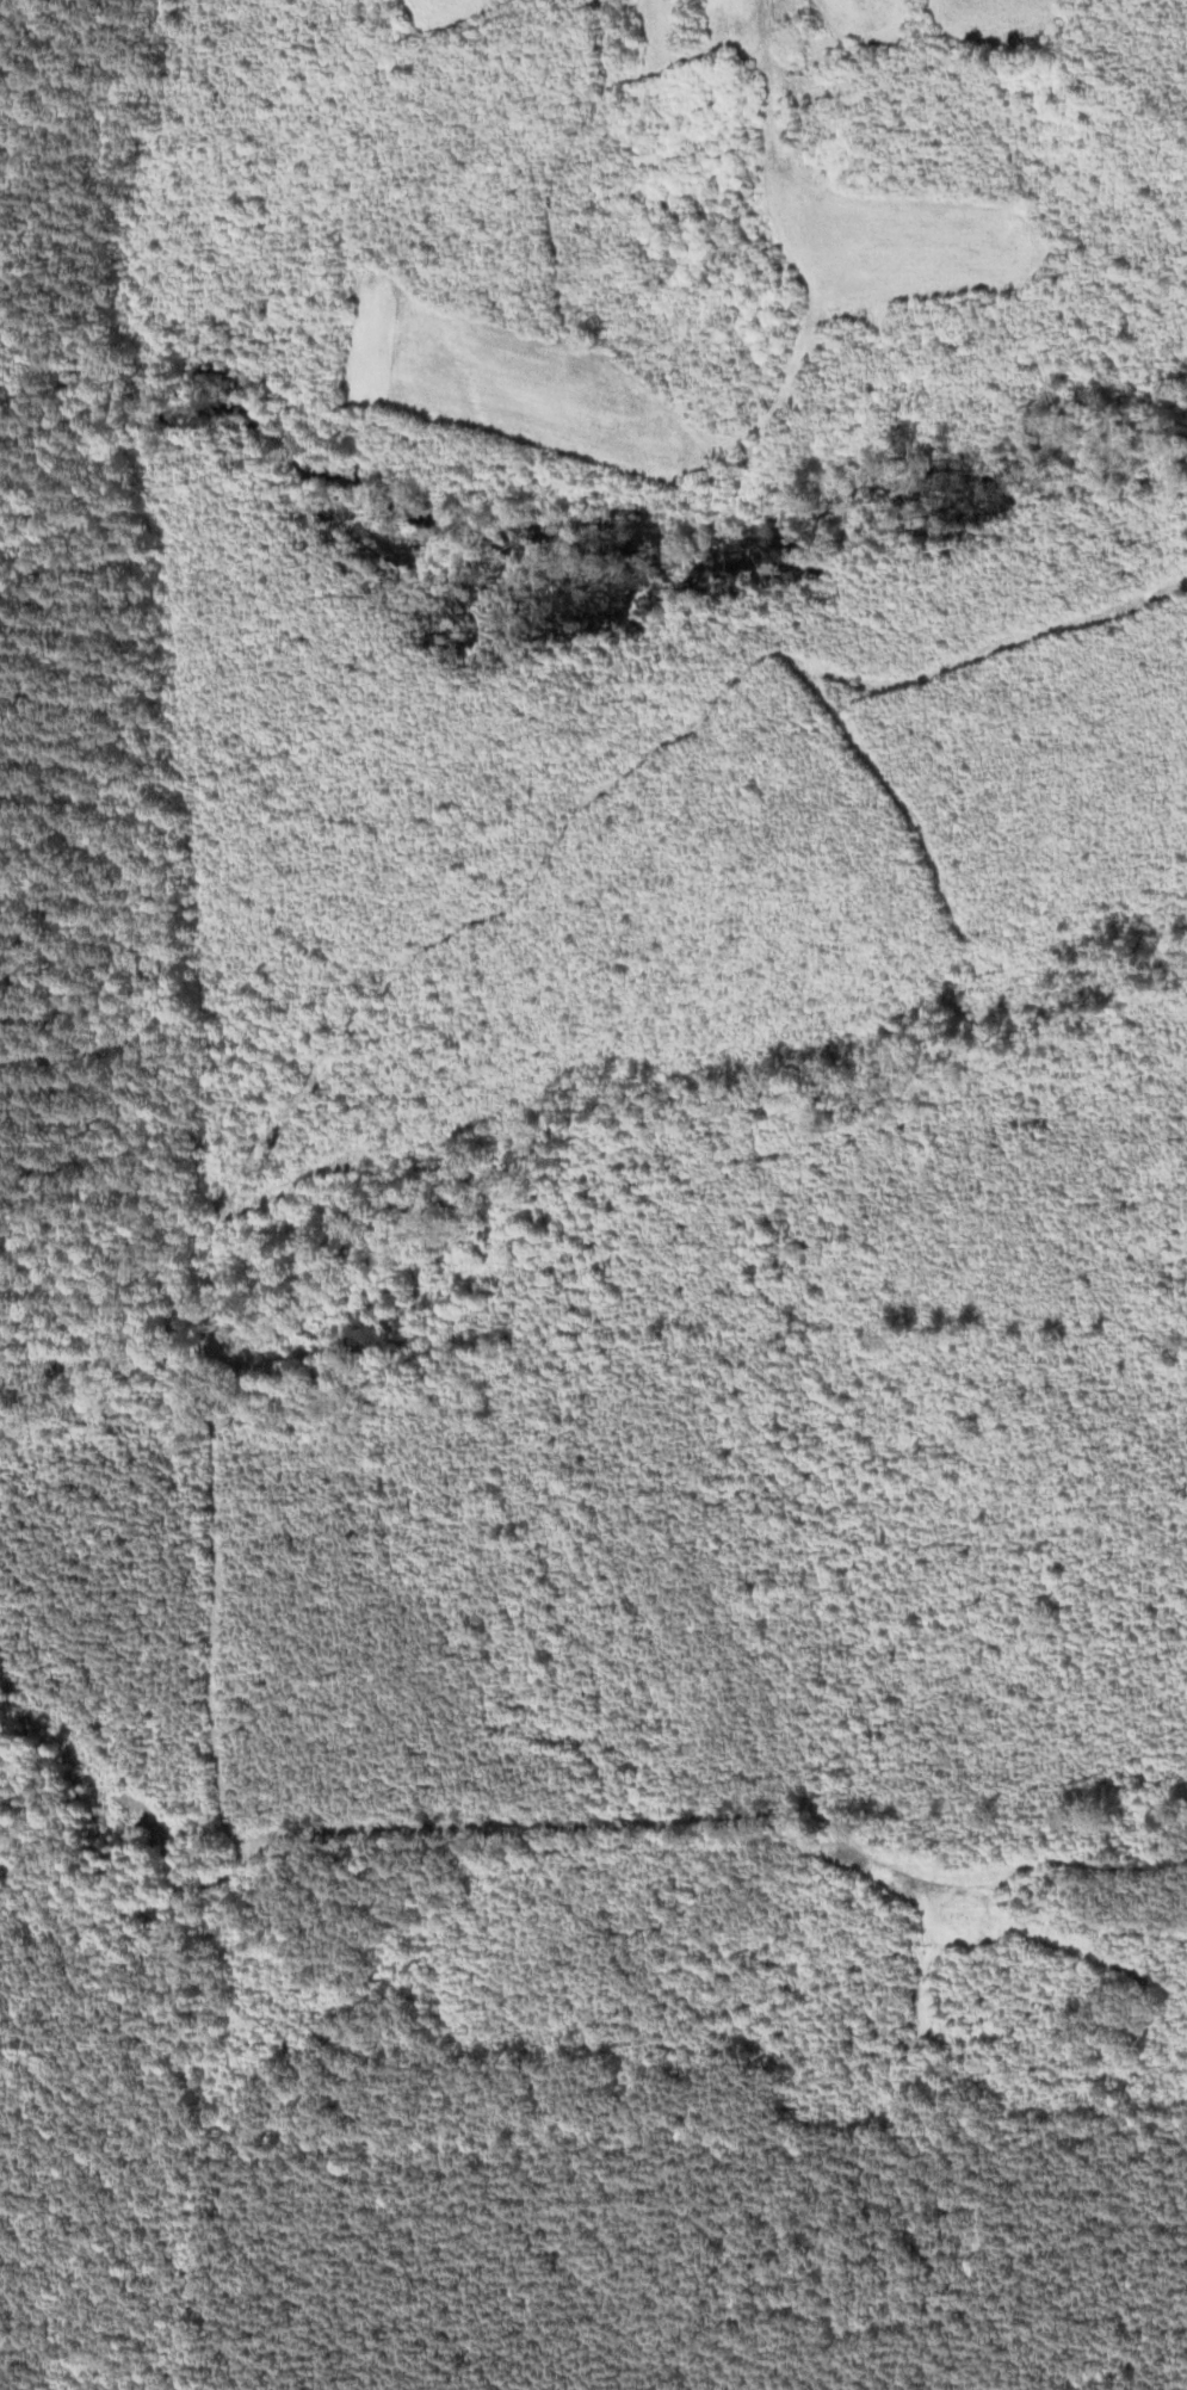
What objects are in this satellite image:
road: (763, 31)

